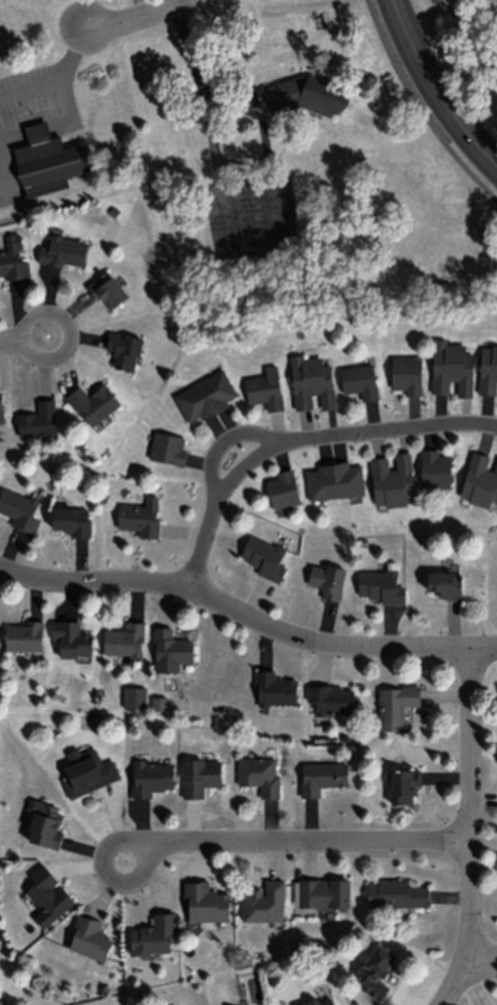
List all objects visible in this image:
road: (136, 21)
park: (462, 54)
road: (434, 91)
building: (304, 96)
building: (43, 160)
parking lot: (250, 208)
building: (63, 251)
building: (12, 258)
building: (111, 291)
road: (10, 337)
road: (26, 348)
building: (124, 350)
building: (451, 367)
building: (488, 369)
building: (406, 374)
building: (360, 380)
building: (313, 381)
building: (265, 390)
building: (205, 396)
building: (93, 403)
building: (0, 410)
building: (38, 420)
road: (301, 445)
building: (168, 449)
building: (435, 469)
building: (392, 480)
building: (481, 480)
building: (334, 481)
building: (283, 491)
building: (18, 510)
building: (141, 518)
building: (71, 520)
building: (264, 558)
building: (327, 580)
building: (444, 584)
building: (380, 586)
road: (247, 612)
building: (22, 636)
building: (72, 639)
building: (124, 640)
building: (171, 650)
building: (276, 689)
building: (330, 699)
building: (395, 705)
building: (88, 771)
building: (259, 774)
building: (200, 776)
building: (323, 776)
building: (152, 777)
building: (403, 787)
building: (46, 825)
road: (468, 826)
road: (119, 835)
road: (303, 837)
building: (324, 892)
building: (396, 893)
building: (47, 894)
building: (205, 901)
building: (264, 901)
building: (154, 933)
building: (89, 937)
road: (478, 965)
building: (373, 969)
building: (322, 1002)

